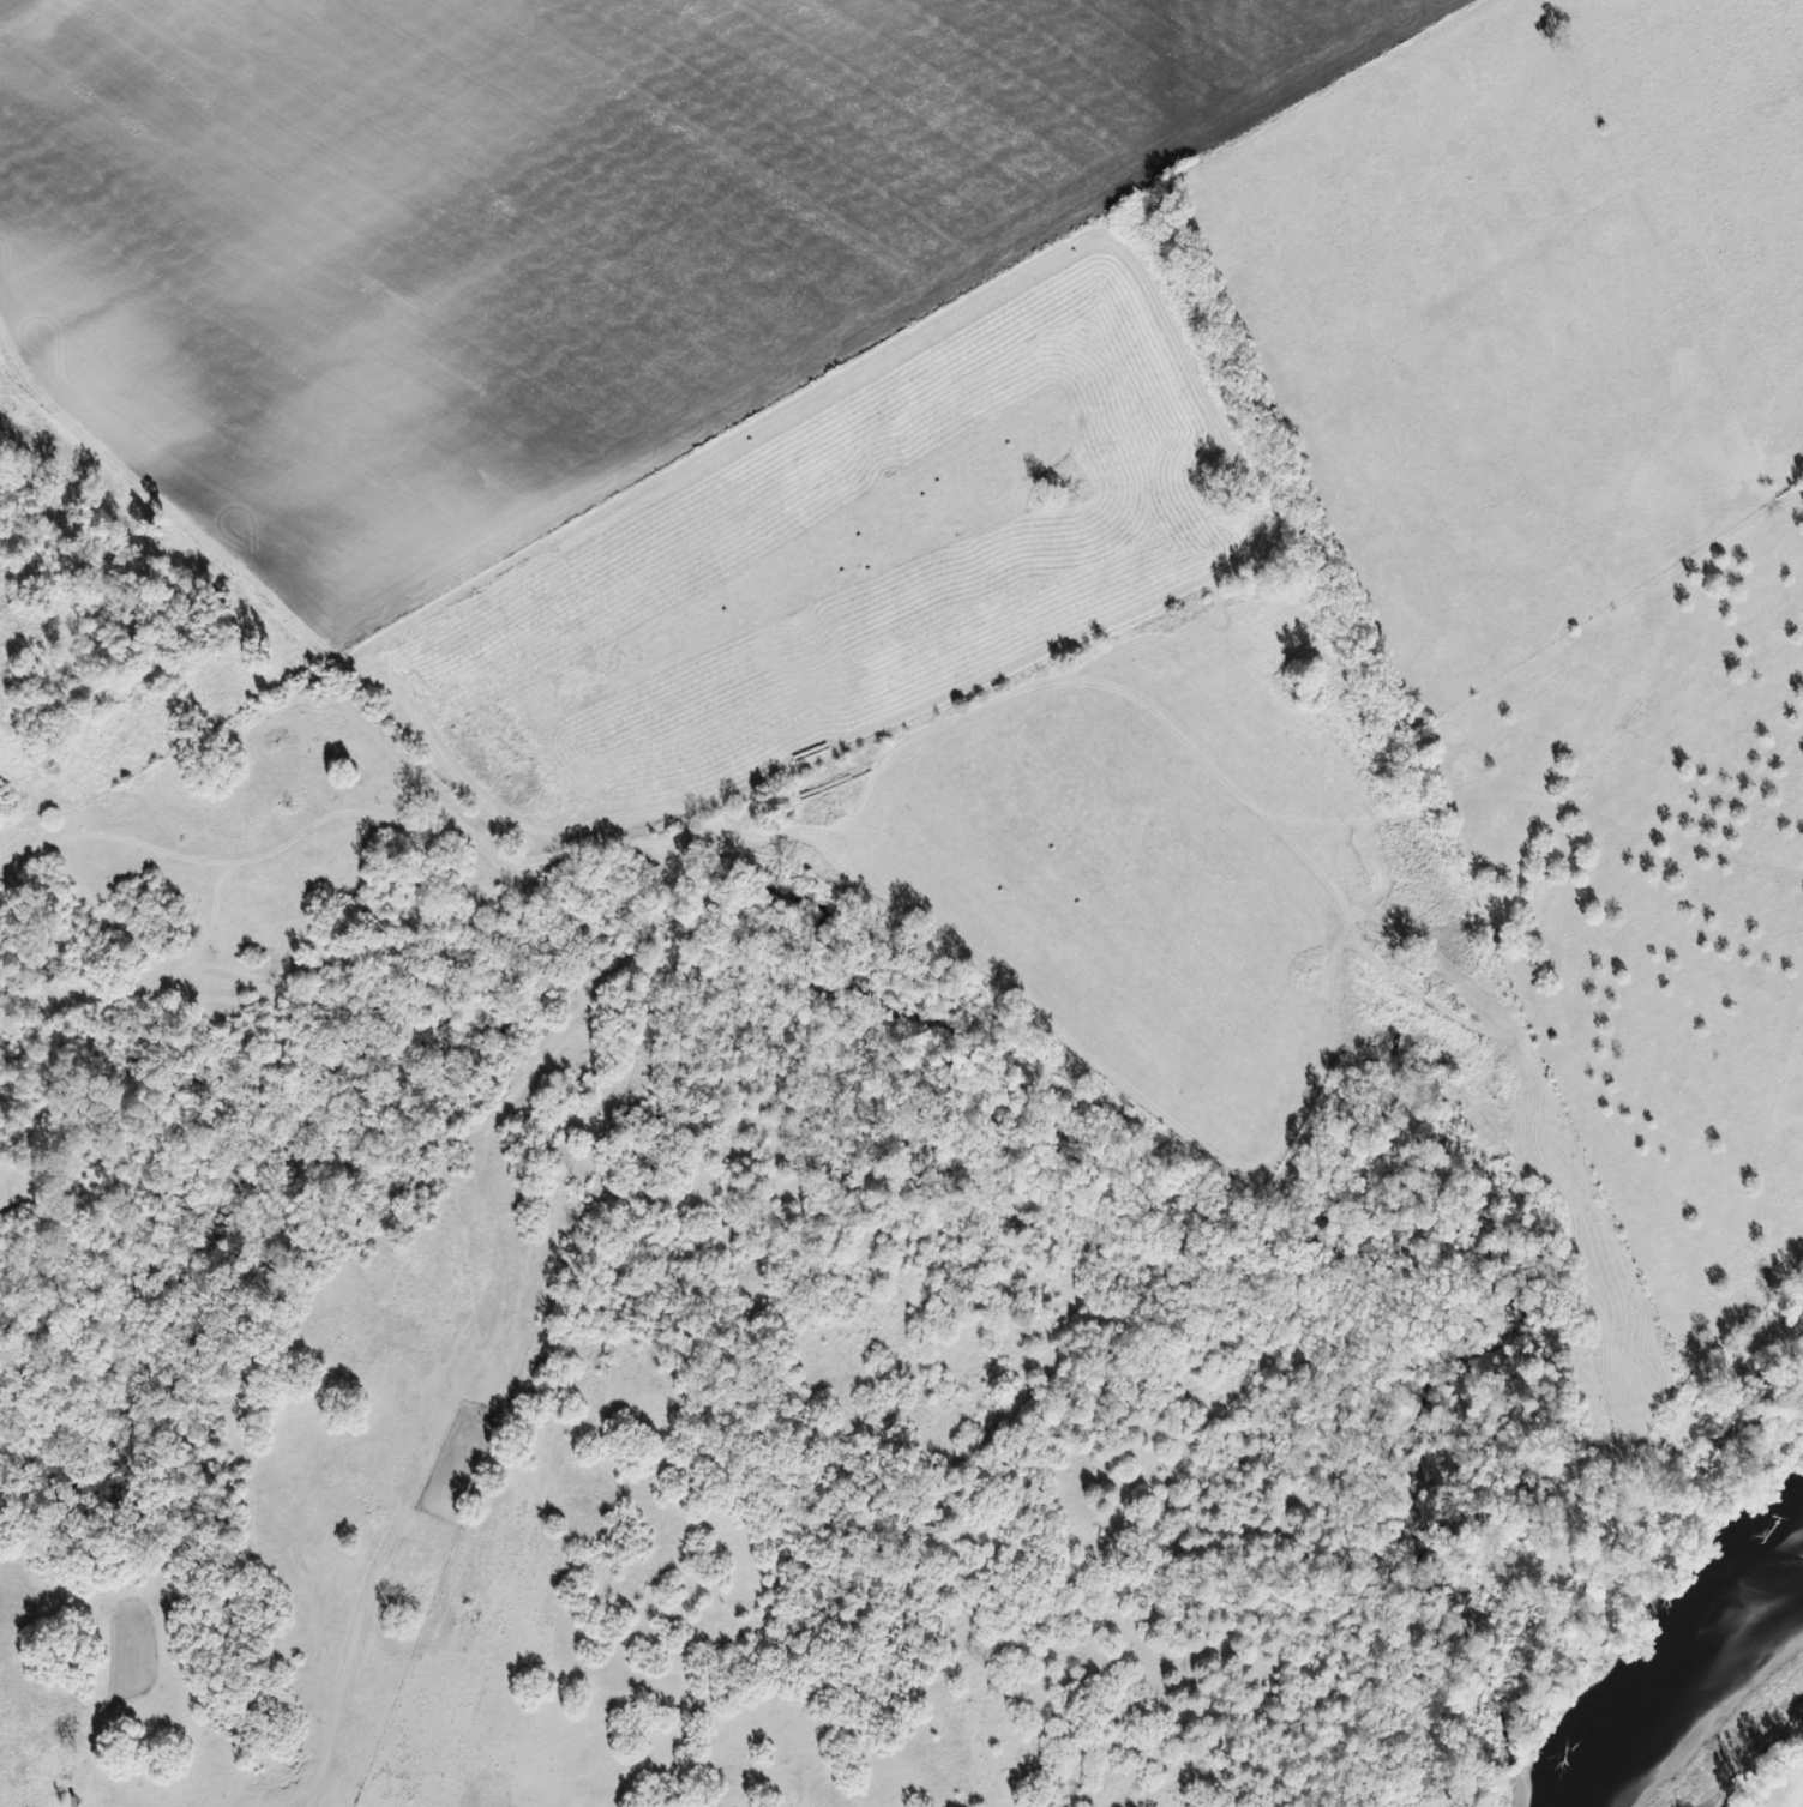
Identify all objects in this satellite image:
road: (788, 793)
road: (495, 1317)
river: (1708, 1703)

